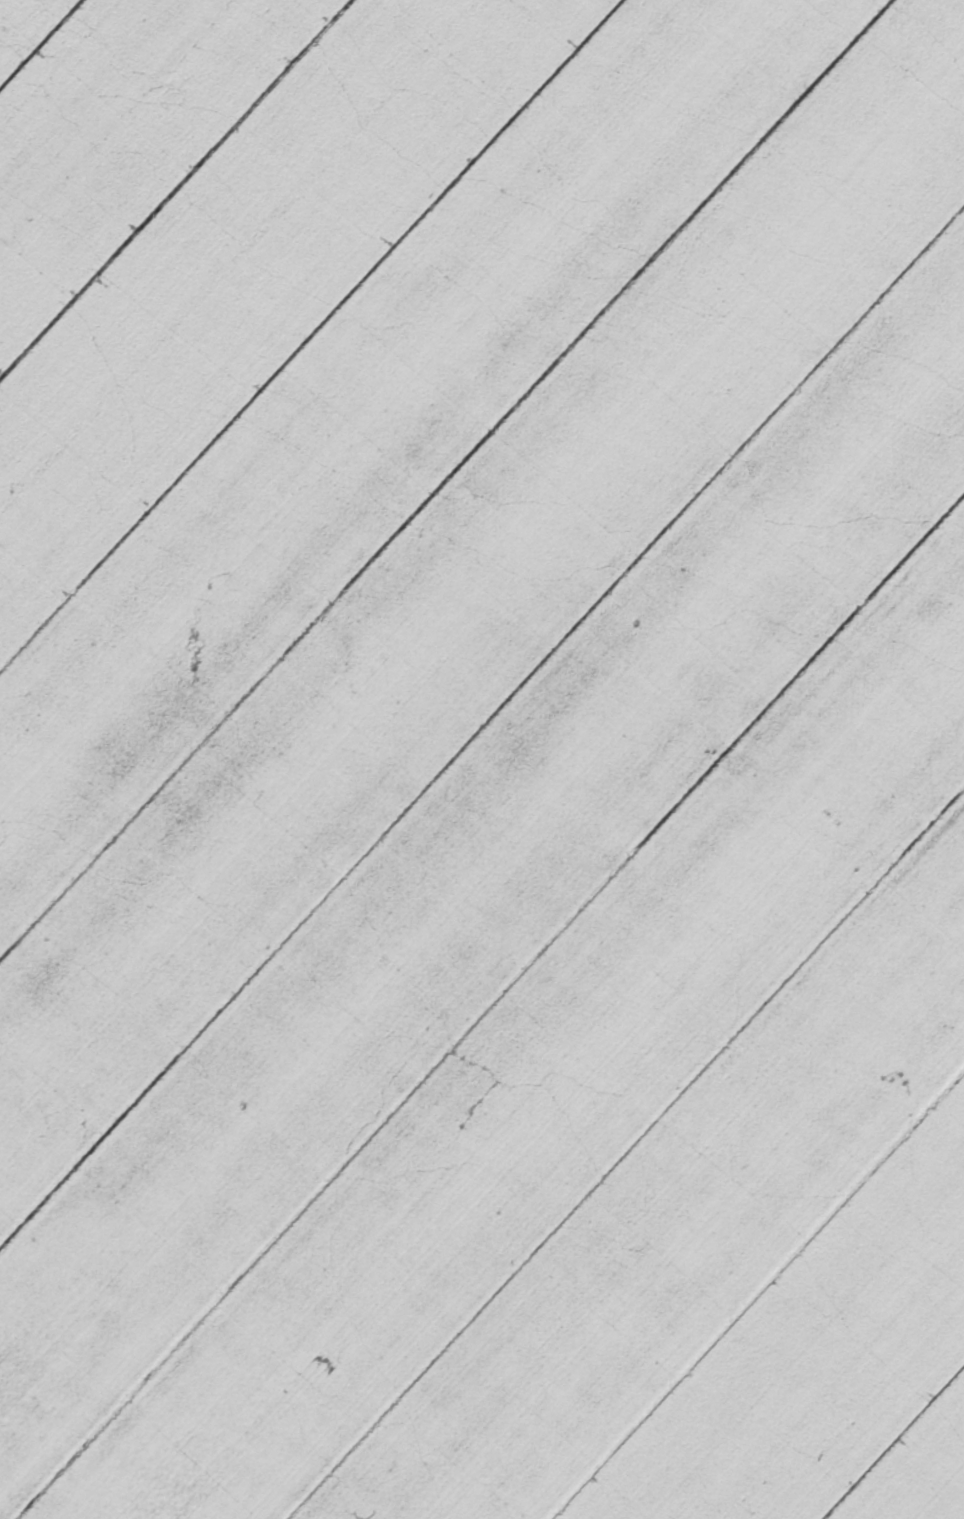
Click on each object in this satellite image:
crop: (482, 759)

